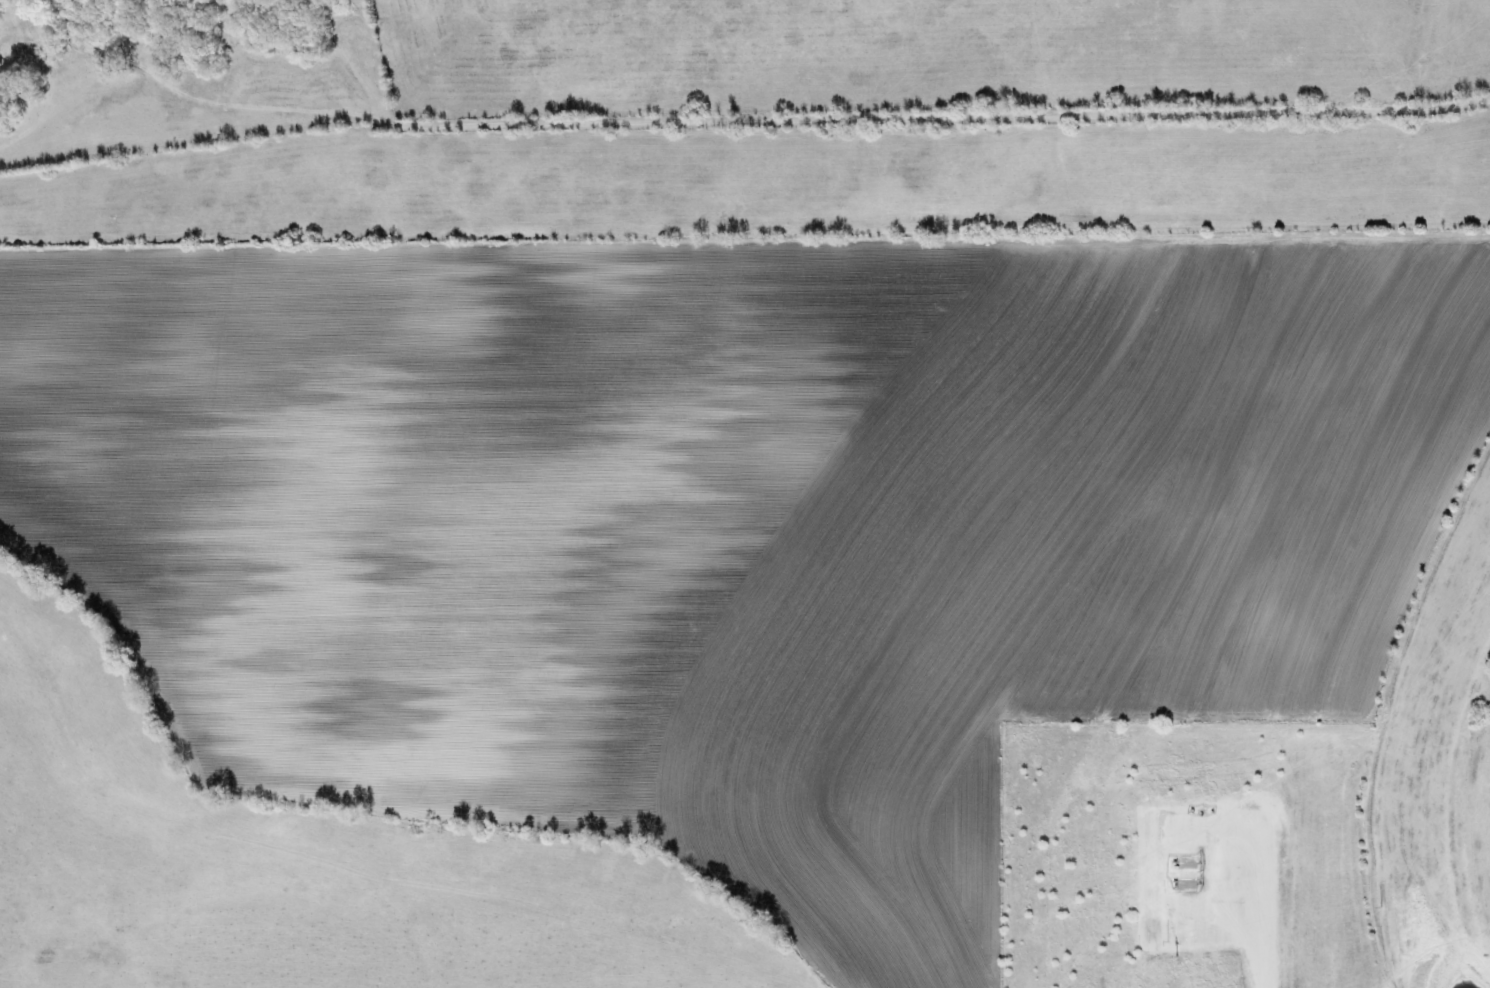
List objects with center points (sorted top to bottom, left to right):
petroleum well: (1181, 863)
road: (1268, 968)

